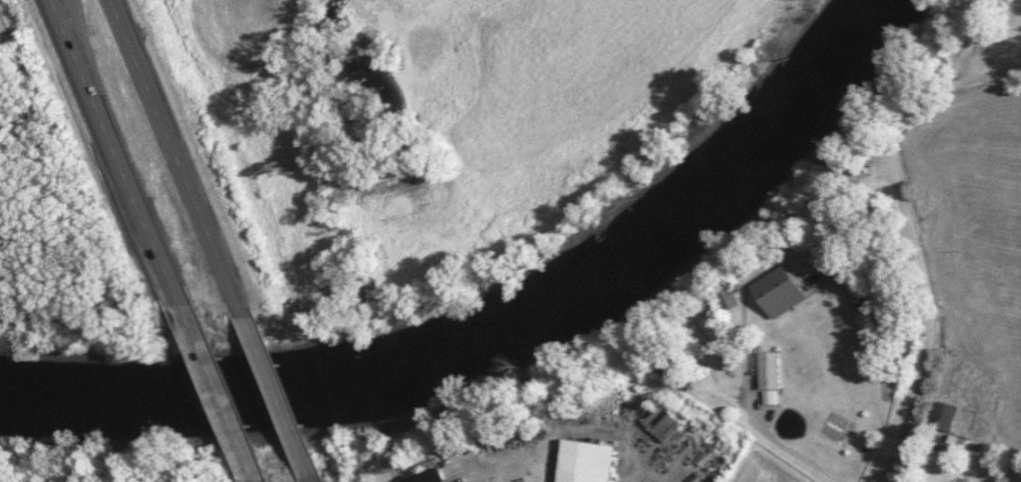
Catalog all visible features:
road: (978, 79)
road: (186, 168)
road: (125, 176)
road: (912, 231)
road: (762, 268)
building: (777, 293)
river: (502, 333)
building: (767, 371)
road: (273, 377)
road: (214, 390)
building: (940, 417)
road: (301, 449)
road: (241, 454)
building: (584, 463)
building: (432, 477)

